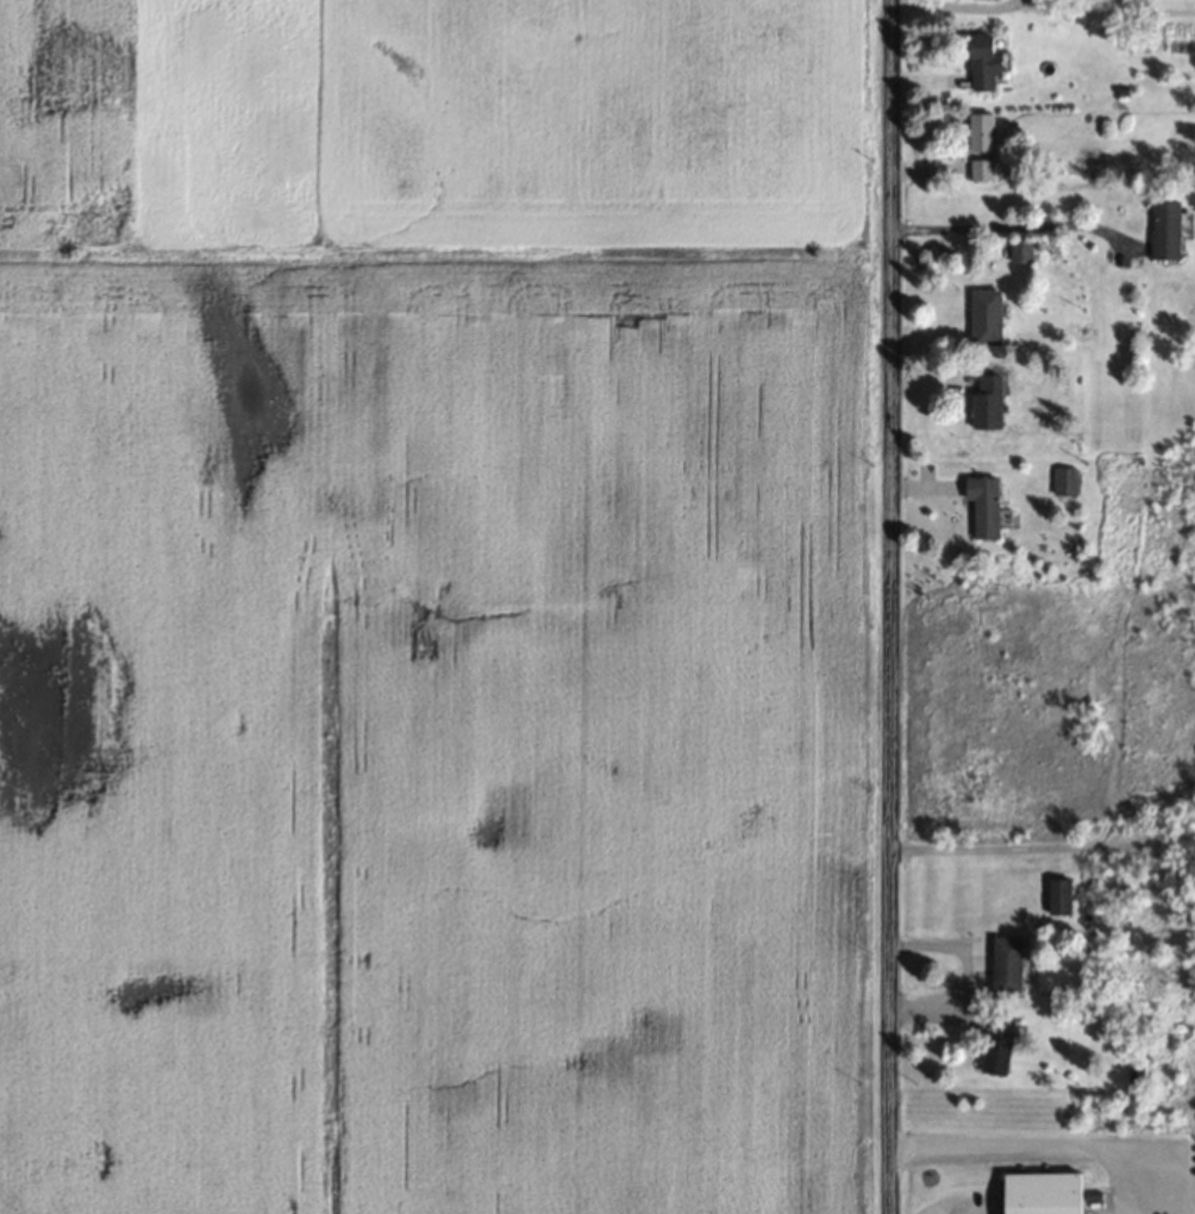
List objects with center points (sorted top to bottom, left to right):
building: (989, 61)
building: (983, 130)
building: (983, 168)
building: (1170, 229)
building: (1022, 249)
building: (989, 315)
building: (991, 400)
building: (1066, 480)
building: (988, 505)
road: (889, 607)
building: (1063, 895)
building: (1011, 964)
building: (1001, 1045)
building: (1137, 1070)
building: (1051, 1191)

